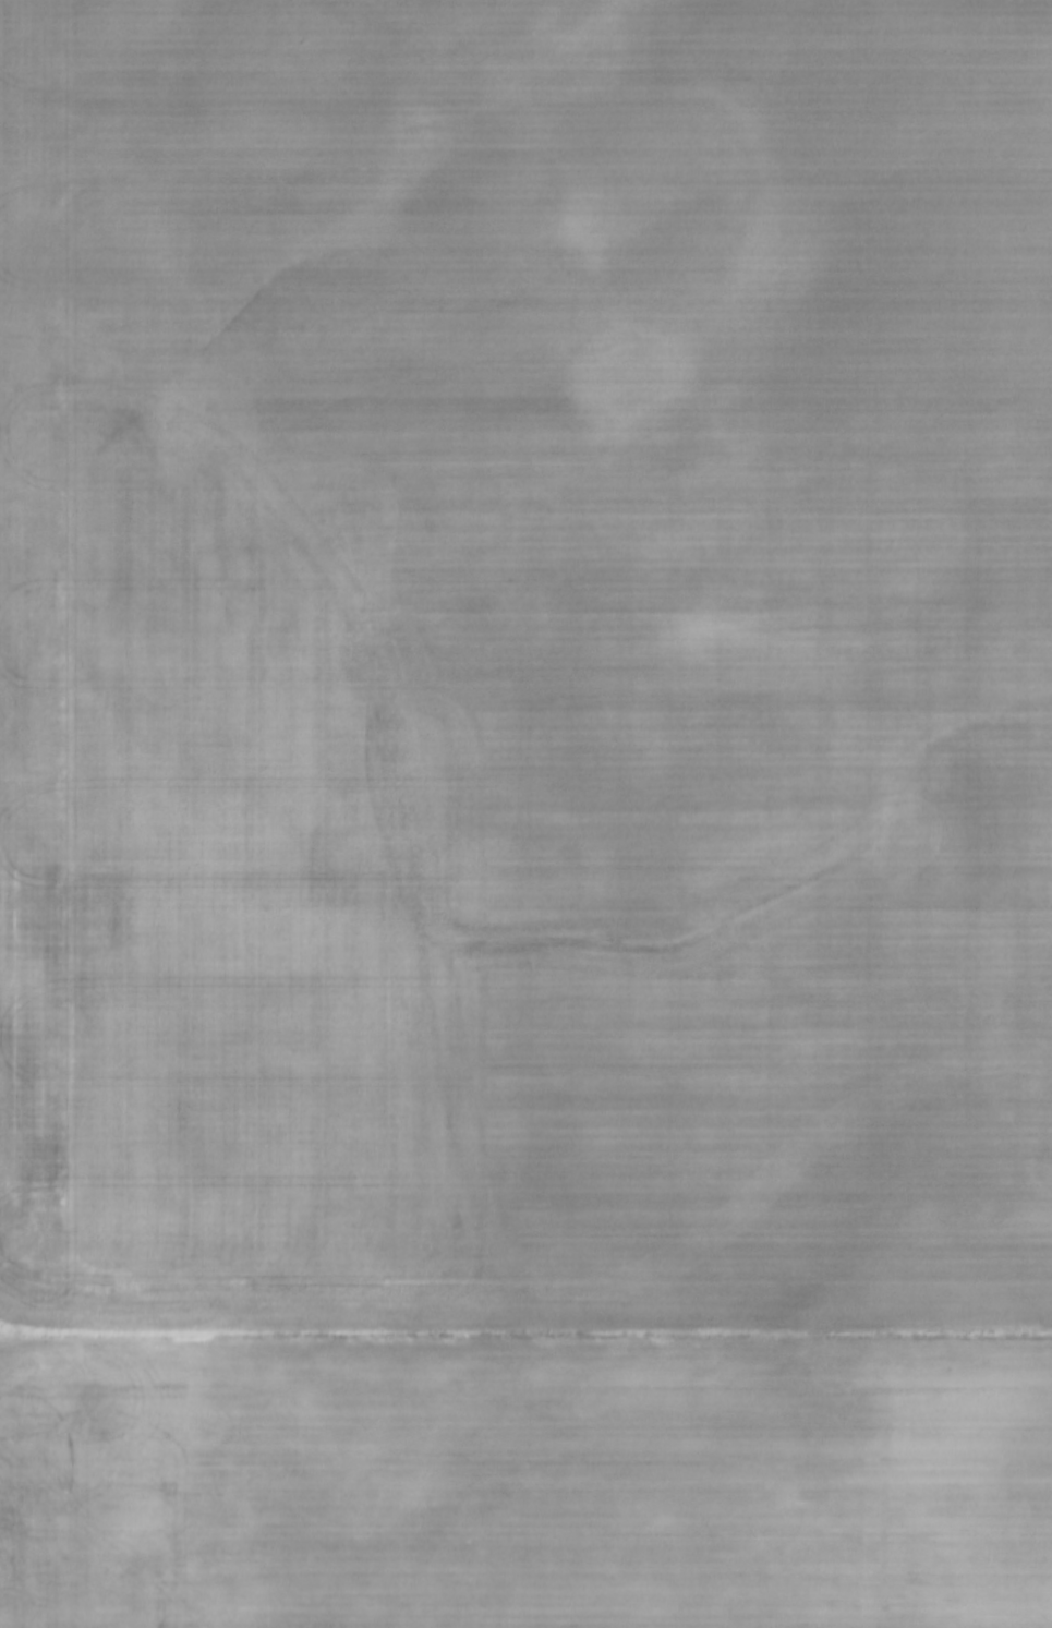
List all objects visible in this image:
road: (525, 1336)

